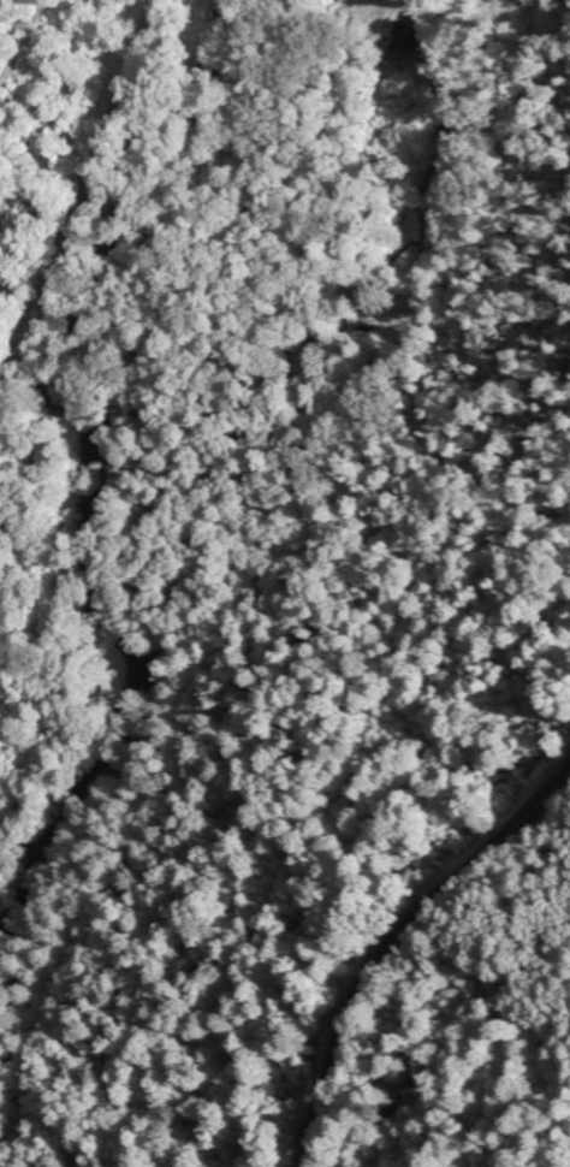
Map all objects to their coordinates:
road: (83, 184)
road: (385, 934)

